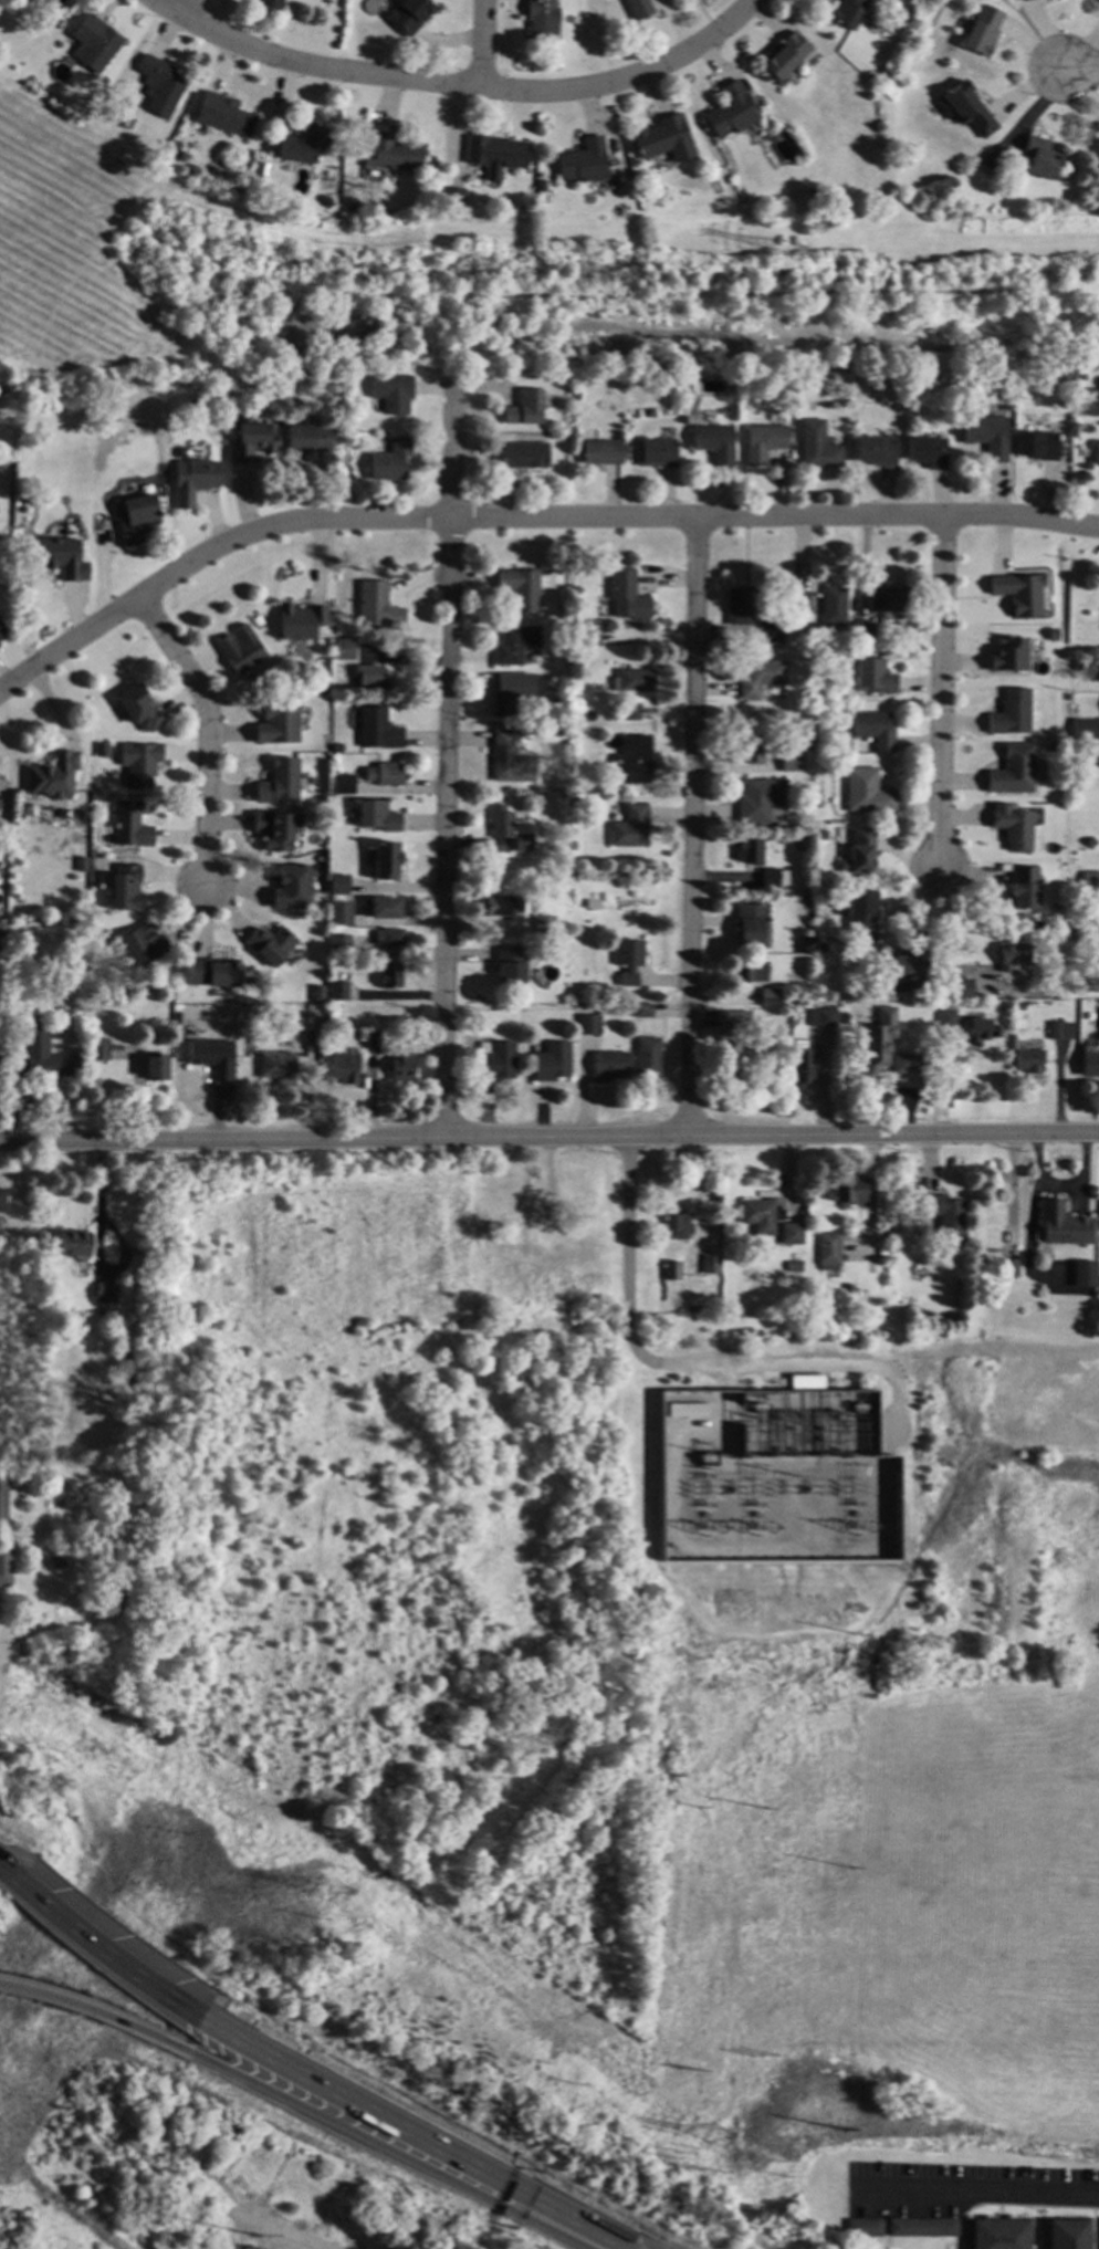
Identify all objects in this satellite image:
building: (1024, 0)
building: (45, 4)
building: (270, 4)
road: (168, 9)
road: (187, 9)
building: (639, 9)
building: (847, 13)
building: (408, 15)
building: (540, 20)
building: (870, 28)
building: (983, 31)
building: (93, 43)
road: (484, 44)
building: (784, 60)
road: (1080, 67)
road: (328, 69)
road: (630, 77)
building: (881, 79)
building: (159, 86)
building: (965, 109)
building: (731, 112)
building: (223, 116)
building: (663, 140)
building: (301, 147)
building: (390, 151)
building: (495, 153)
building: (174, 155)
building: (1040, 158)
building: (583, 163)
building: (991, 164)
building: (816, 192)
building: (452, 198)
building: (325, 202)
building: (350, 202)
power tower: (789, 255)
power tower: (273, 259)
road: (548, 273)
building: (1060, 376)
building: (1077, 378)
building: (598, 379)
building: (391, 394)
building: (1092, 401)
building: (524, 409)
building: (986, 437)
building: (307, 439)
building: (251, 440)
building: (763, 443)
building: (715, 444)
building: (818, 447)
building: (1037, 447)
building: (877, 451)
building: (928, 452)
building: (601, 453)
building: (657, 454)
building: (1095, 454)
building: (524, 457)
building: (389, 462)
building: (1, 464)
building: (347, 470)
building: (192, 481)
building: (134, 519)
road: (526, 520)
building: (60, 558)
building: (523, 588)
building: (1019, 594)
building: (627, 597)
building: (888, 599)
building: (774, 600)
building: (800, 604)
building: (377, 607)
building: (739, 607)
building: (833, 607)
building: (257, 621)
building: (300, 621)
building: (2, 630)
building: (338, 630)
building: (772, 634)
building: (861, 634)
building: (587, 637)
building: (837, 639)
building: (514, 645)
building: (344, 649)
building: (240, 650)
building: (1007, 656)
building: (1077, 667)
building: (871, 677)
building: (631, 678)
building: (369, 679)
building: (760, 679)
road: (941, 691)
building: (511, 692)
building: (1070, 699)
building: (559, 701)
building: (138, 709)
building: (825, 710)
building: (630, 712)
building: (1011, 713)
building: (278, 725)
building: (1085, 729)
building: (377, 730)
building: (873, 730)
road: (210, 733)
building: (808, 747)
building: (336, 750)
building: (102, 751)
building: (749, 752)
road: (447, 756)
building: (1097, 756)
building: (632, 759)
building: (510, 761)
building: (791, 762)
building: (139, 764)
building: (1012, 770)
building: (53, 775)
building: (384, 775)
building: (280, 783)
building: (343, 785)
building: (1070, 785)
building: (866, 792)
building: (758, 801)
building: (575, 802)
building: (0, 803)
building: (0, 805)
building: (376, 817)
road: (692, 825)
building: (129, 826)
building: (1013, 826)
building: (509, 827)
building: (629, 828)
building: (275, 829)
building: (821, 836)
building: (749, 852)
building: (858, 854)
building: (318, 859)
building: (383, 862)
building: (2, 872)
building: (772, 878)
building: (1072, 881)
building: (1090, 882)
building: (336, 885)
building: (292, 887)
building: (1023, 887)
building: (126, 888)
building: (593, 906)
building: (499, 907)
building: (384, 909)
building: (860, 911)
building: (341, 913)
building: (751, 927)
building: (544, 928)
building: (1070, 937)
building: (389, 939)
road: (948, 939)
building: (139, 944)
building: (270, 944)
building: (338, 945)
building: (806, 945)
building: (964, 945)
building: (820, 946)
building: (1012, 955)
building: (628, 961)
building: (0, 967)
building: (510, 967)
building: (903, 969)
building: (750, 973)
building: (211, 974)
building: (389, 976)
building: (956, 987)
building: (337, 992)
building: (317, 994)
building: (938, 994)
building: (771, 996)
building: (800, 1002)
building: (1019, 1006)
building: (527, 1008)
building: (643, 1011)
building: (821, 1019)
building: (945, 1019)
building: (1098, 1019)
building: (733, 1021)
building: (983, 1025)
building: (588, 1026)
building: (1056, 1032)
building: (1005, 1033)
building: (373, 1040)
building: (878, 1040)
building: (312, 1043)
building: (97, 1050)
building: (211, 1056)
building: (45, 1057)
building: (648, 1059)
building: (728, 1060)
building: (401, 1061)
building: (495, 1061)
building: (1028, 1061)
building: (1089, 1063)
building: (552, 1064)
building: (907, 1064)
building: (609, 1066)
building: (155, 1069)
building: (279, 1069)
building: (800, 1069)
building: (345, 1070)
road: (548, 1129)
building: (575, 1173)
building: (849, 1190)
building: (2, 1202)
building: (758, 1216)
building: (944, 1217)
building: (880, 1220)
building: (1065, 1226)
building: (514, 1227)
building: (677, 1227)
building: (543, 1232)
building: (791, 1235)
road: (95, 1243)
building: (73, 1245)
building: (828, 1252)
building: (6, 1259)
building: (710, 1265)
building: (793, 1267)
building: (1009, 1268)
building: (671, 1273)
building: (1082, 1275)
building: (1098, 1278)
building: (563, 1288)
building: (849, 1290)
building: (105, 1294)
building: (829, 1301)
road: (684, 1353)
building: (807, 1384)
building: (688, 1411)
building: (51, 1475)
power substation: (772, 1476)
building: (2, 1497)
building: (53, 1565)
building: (6, 1566)
power tower: (859, 1635)
power tower: (699, 1808)
power tower: (764, 1809)
power tower: (850, 1868)
road: (6, 1874)
road: (111, 1958)
road: (105, 2015)
power tower: (763, 2056)
power tower: (688, 2070)
power tower: (840, 2131)
road: (412, 2137)
power tower: (715, 2138)
road: (402, 2153)
power tower: (679, 2154)
power tower: (763, 2163)
road: (983, 2187)
building: (920, 2228)
building: (862, 2229)
building: (1098, 2232)
building: (997, 2234)
building: (1066, 2234)

